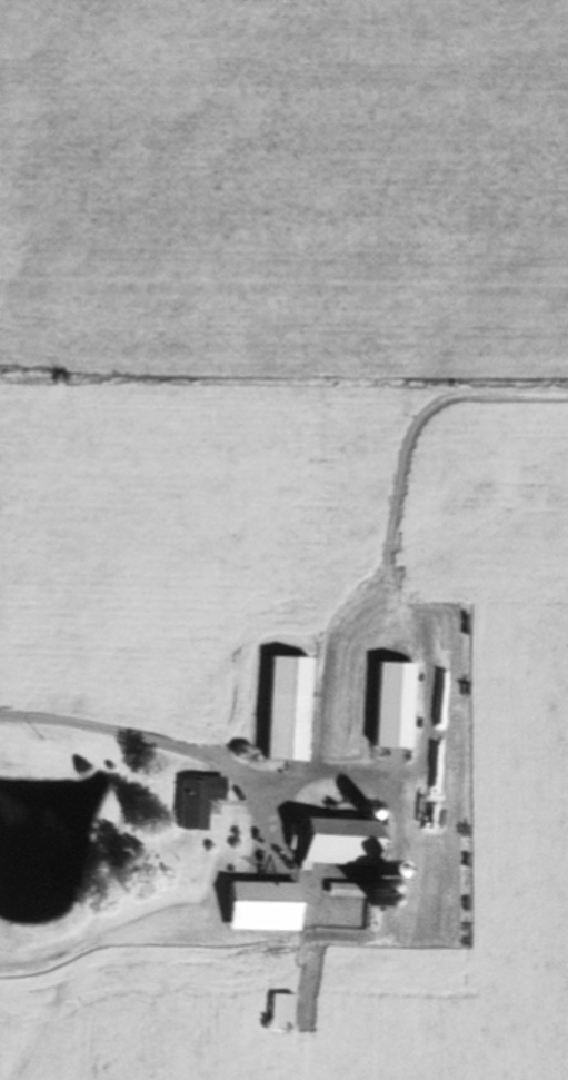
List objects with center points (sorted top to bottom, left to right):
building: (286, 707)
road: (140, 739)
building: (196, 802)
building: (336, 842)
building: (346, 889)
building: (261, 905)
building: (278, 1010)

